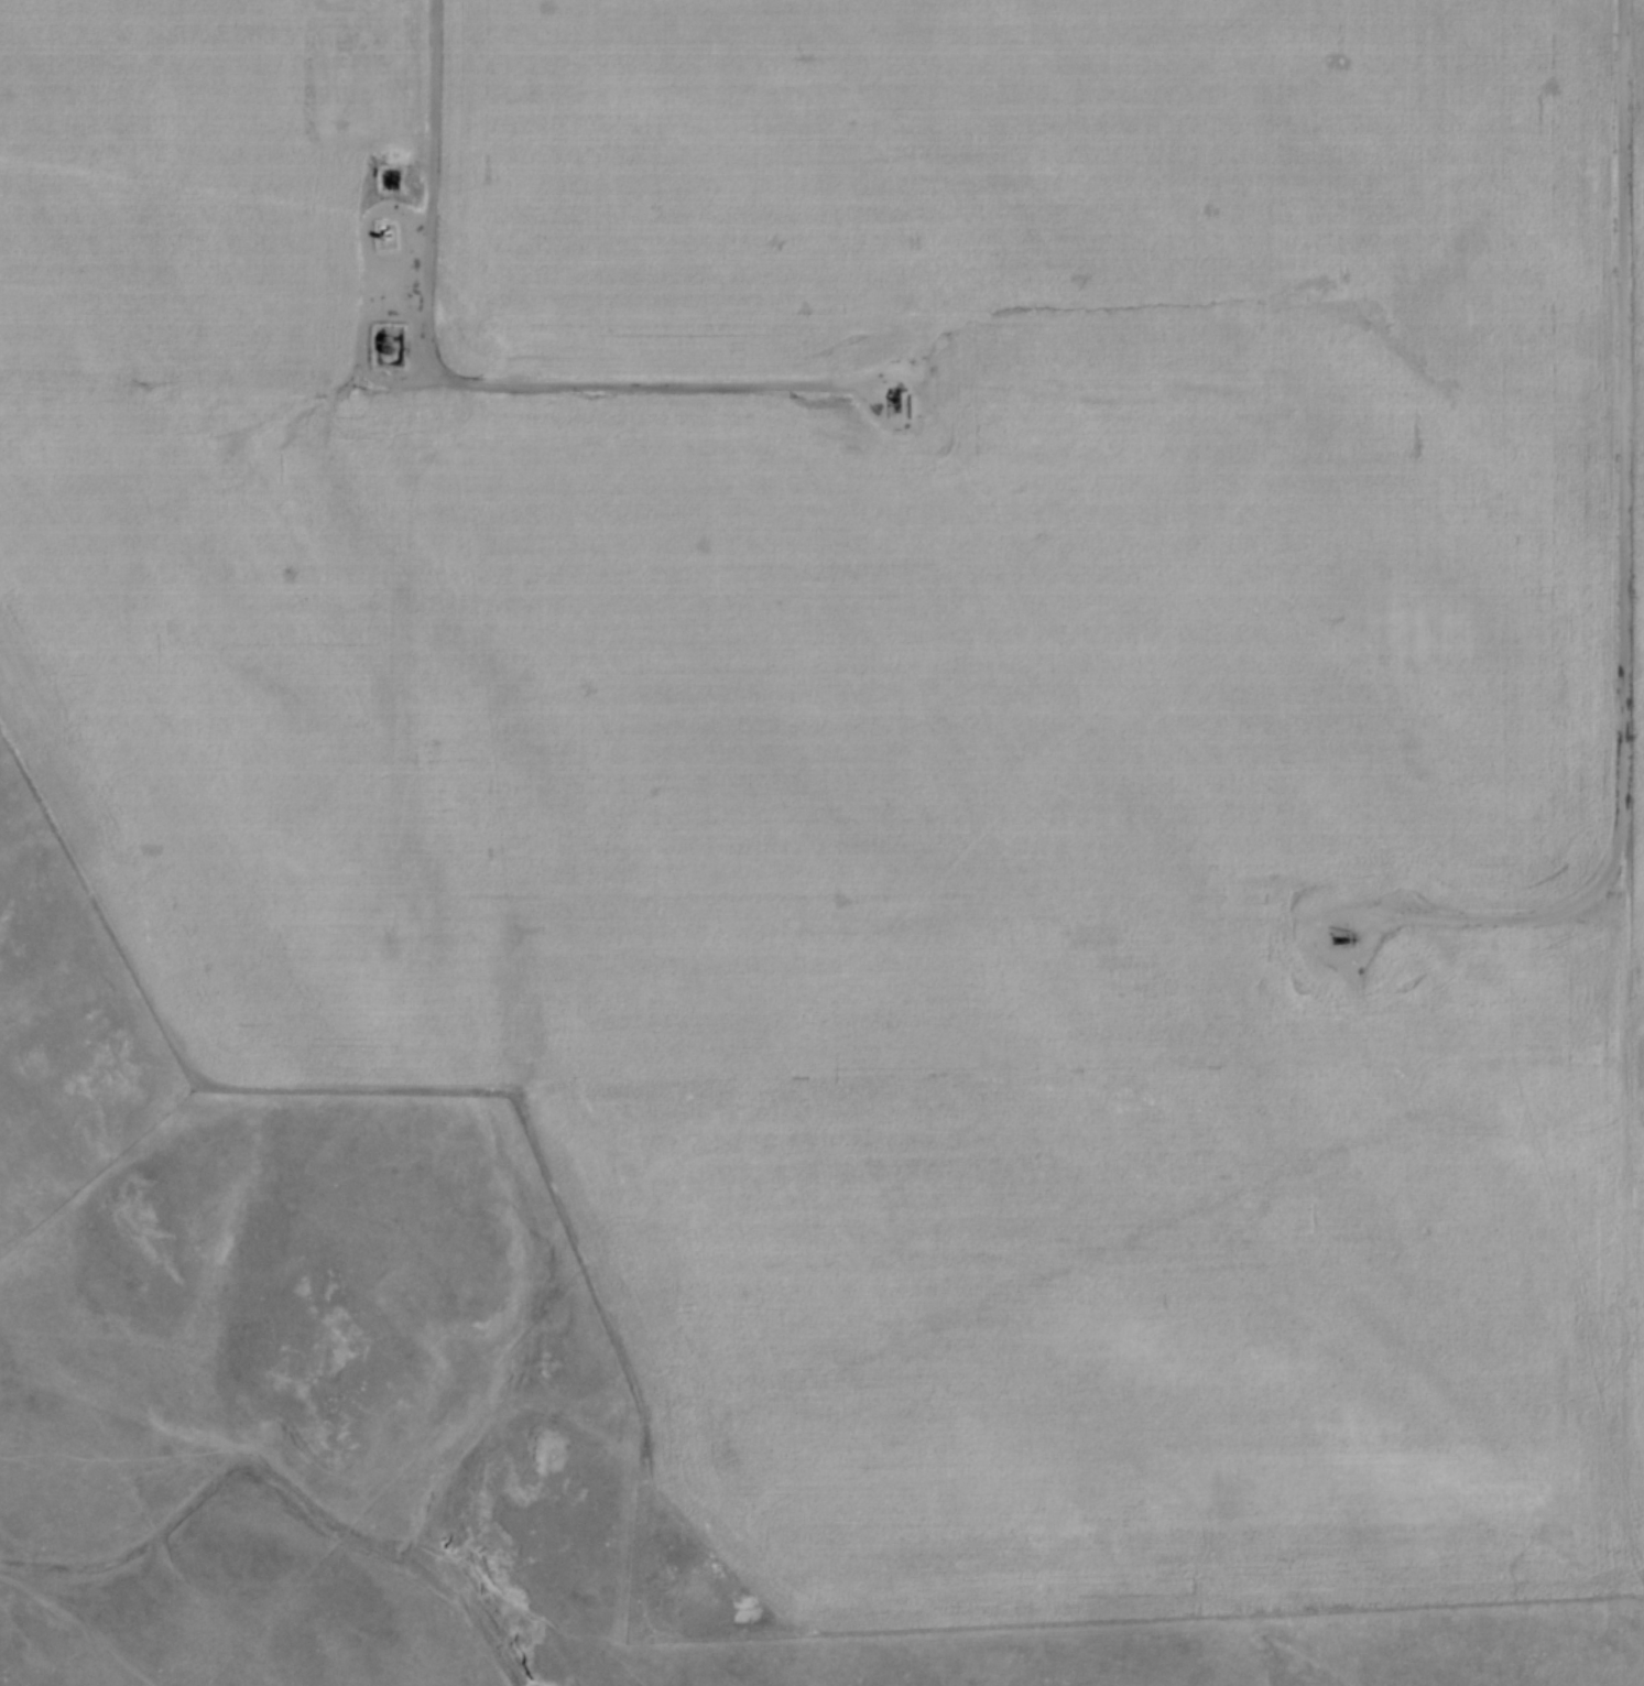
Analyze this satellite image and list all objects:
road: (371, 282)
road: (456, 379)
petroleum well: (900, 398)
road: (924, 400)
road: (1620, 544)
crop: (906, 718)
petroleum well: (1351, 935)
road: (1325, 940)

